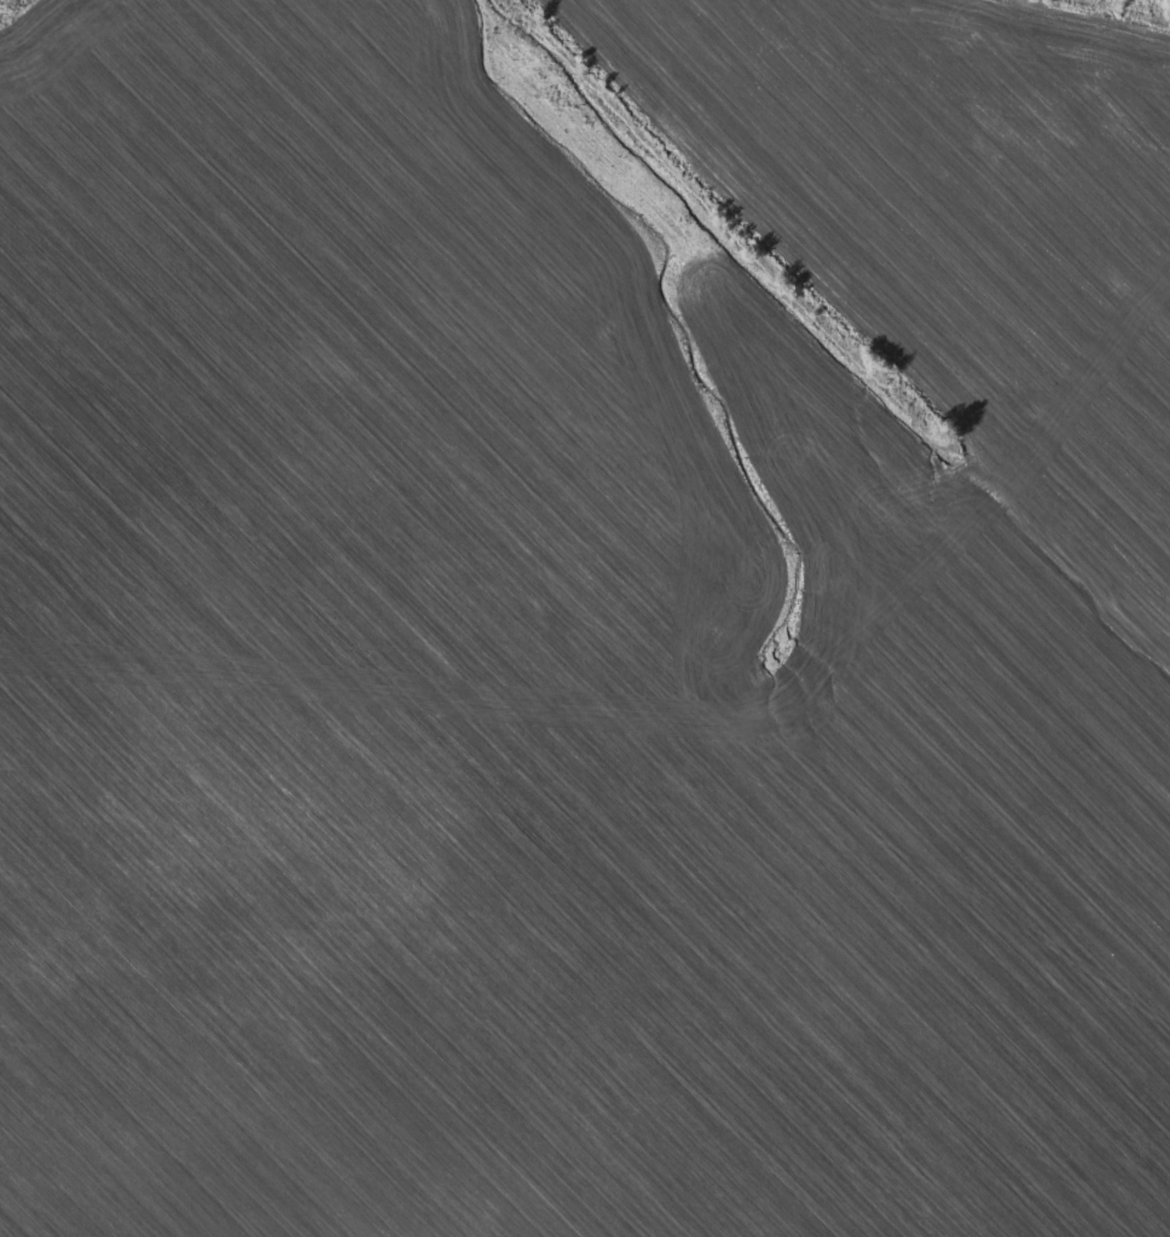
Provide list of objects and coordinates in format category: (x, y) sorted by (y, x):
building: (933, 1054)

